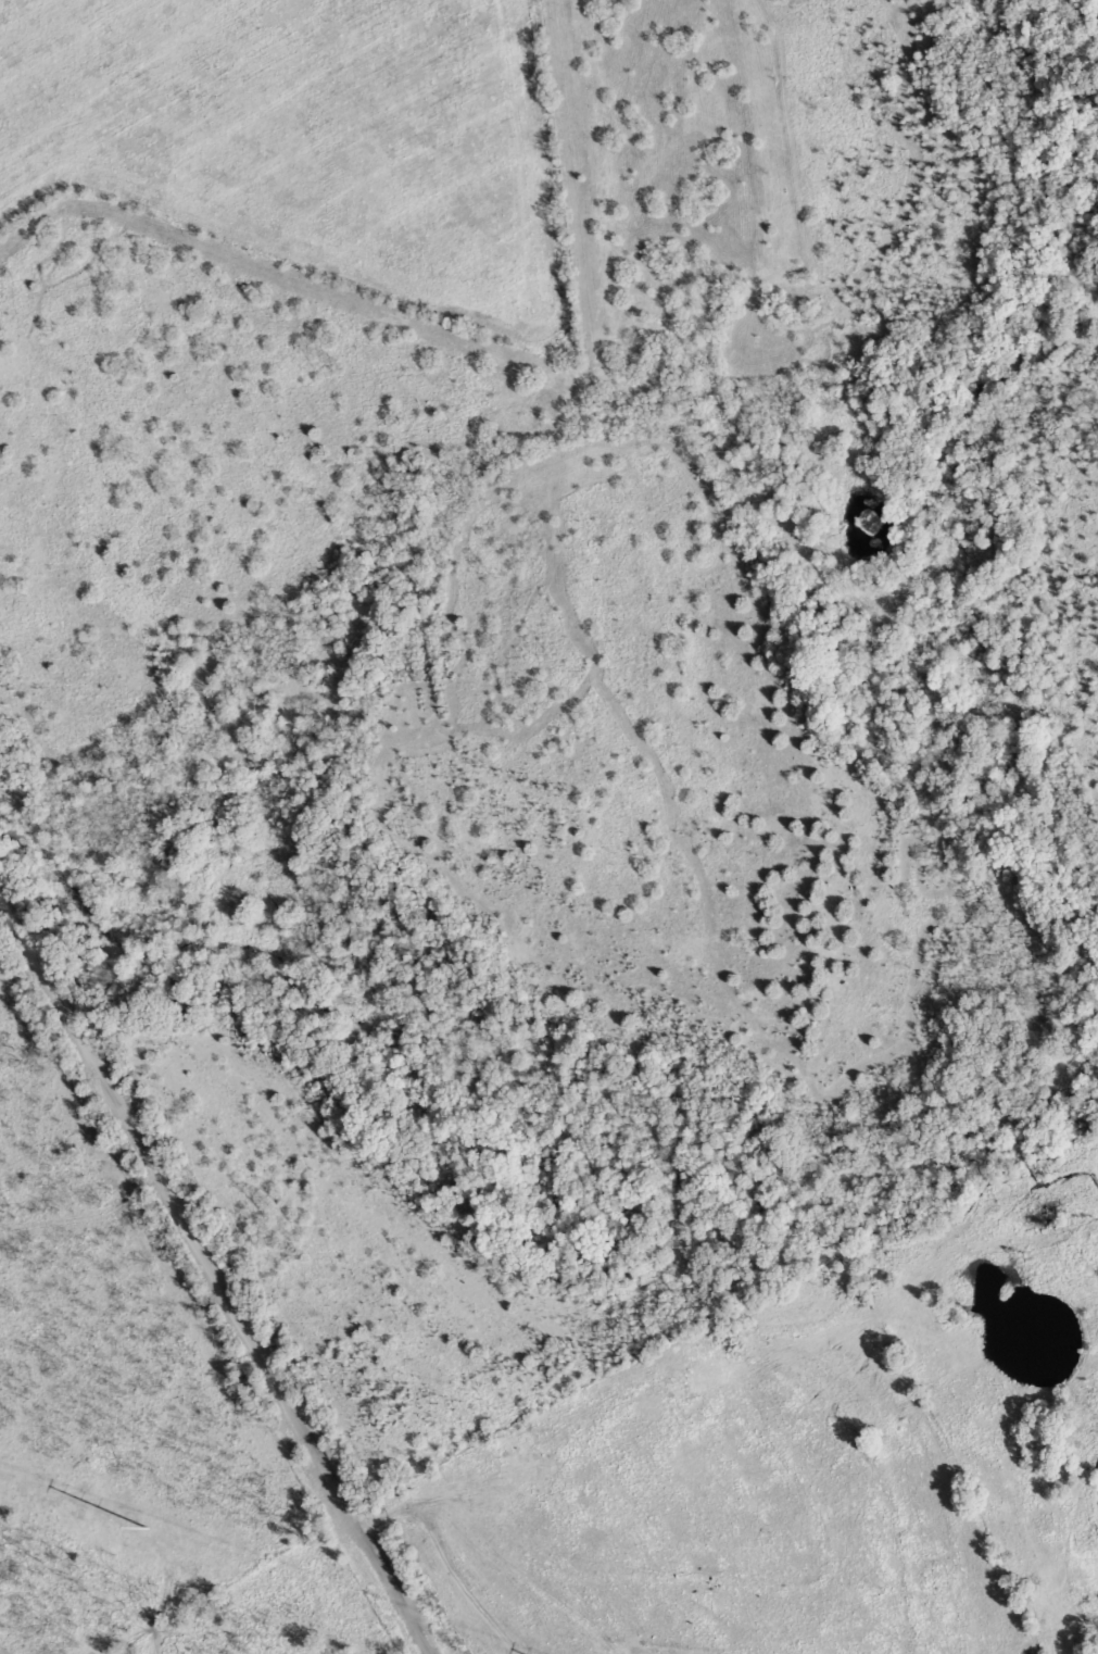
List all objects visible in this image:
road: (216, 1274)
power tower: (148, 1527)
road: (472, 1531)

